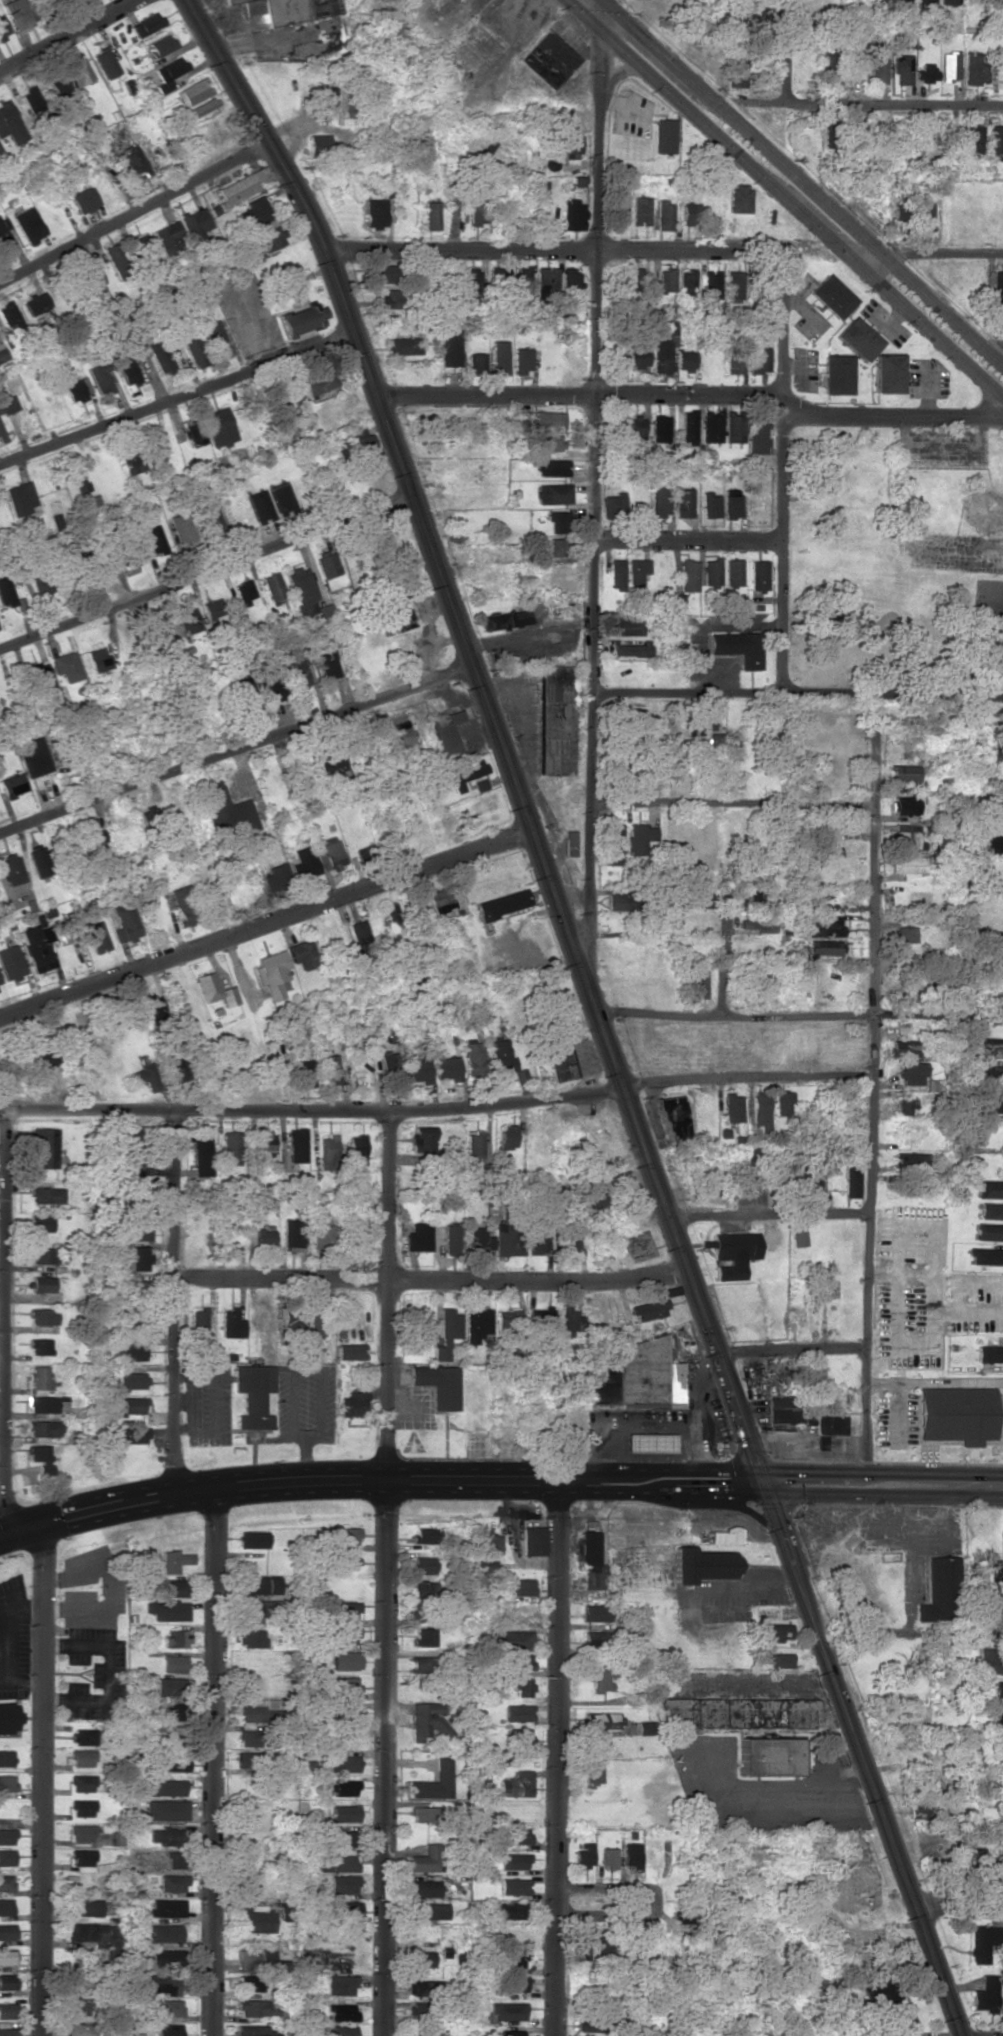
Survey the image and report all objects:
building: (288, 9)
building: (20, 13)
building: (146, 24)
building: (3, 27)
traffic signals: (630, 27)
road: (65, 36)
building: (161, 45)
traffic signals: (599, 50)
road: (784, 50)
building: (548, 58)
building: (105, 63)
building: (877, 65)
building: (948, 65)
building: (825, 67)
building: (901, 68)
building: (973, 68)
building: (736, 71)
building: (924, 72)
building: (78, 73)
building: (169, 73)
building: (194, 91)
building: (29, 98)
building: (326, 101)
road: (893, 103)
building: (350, 106)
building: (202, 107)
building: (10, 123)
building: (664, 135)
building: (972, 139)
building: (318, 141)
building: (995, 142)
building: (567, 143)
building: (418, 144)
building: (133, 161)
road: (802, 177)
building: (241, 186)
road: (785, 196)
building: (739, 198)
building: (84, 199)
road: (453, 199)
road: (130, 208)
building: (620, 208)
building: (477, 209)
building: (640, 209)
building: (253, 212)
building: (374, 213)
building: (688, 213)
building: (901, 213)
building: (431, 215)
building: (572, 215)
building: (923, 215)
building: (196, 221)
building: (28, 224)
building: (4, 236)
building: (168, 237)
building: (268, 238)
building: (141, 242)
road: (553, 250)
road: (945, 251)
building: (115, 258)
road: (877, 262)
building: (381, 273)
building: (496, 274)
building: (570, 278)
building: (472, 279)
building: (667, 279)
building: (523, 281)
building: (687, 281)
building: (995, 283)
building: (546, 284)
building: (712, 284)
building: (735, 285)
building: (830, 296)
building: (389, 297)
building: (35, 302)
building: (301, 318)
building: (11, 319)
building: (672, 327)
building: (214, 338)
building: (857, 338)
building: (404, 345)
building: (451, 347)
building: (194, 352)
building: (2, 354)
building: (160, 355)
building: (639, 355)
building: (499, 357)
building: (662, 357)
building: (758, 358)
building: (521, 359)
building: (685, 360)
building: (734, 362)
building: (476, 363)
building: (127, 372)
building: (888, 373)
building: (836, 374)
building: (101, 378)
building: (319, 382)
building: (77, 388)
road: (171, 393)
road: (688, 397)
building: (8, 404)
building: (548, 419)
building: (711, 425)
building: (220, 426)
building: (689, 426)
building: (733, 427)
building: (637, 428)
building: (660, 428)
building: (194, 433)
building: (756, 433)
building: (2, 434)
building: (361, 441)
building: (548, 442)
building: (133, 461)
building: (553, 467)
road: (782, 472)
road: (598, 476)
building: (77, 478)
building: (552, 493)
building: (22, 498)
building: (281, 498)
building: (659, 500)
building: (613, 502)
building: (683, 502)
building: (731, 503)
building: (710, 504)
building: (261, 507)
building: (985, 509)
building: (556, 521)
building: (183, 526)
building: (155, 538)
road: (690, 538)
building: (556, 547)
road: (966, 554)
building: (327, 565)
building: (711, 572)
building: (733, 572)
building: (616, 574)
road: (203, 575)
building: (688, 575)
building: (758, 575)
building: (636, 576)
building: (42, 584)
building: (273, 587)
building: (301, 590)
building: (6, 592)
building: (244, 592)
building: (678, 602)
building: (213, 609)
building: (398, 617)
building: (188, 619)
building: (505, 620)
building: (626, 626)
building: (159, 632)
building: (738, 647)
building: (630, 649)
building: (100, 659)
building: (327, 664)
building: (68, 665)
building: (296, 669)
building: (271, 683)
road: (797, 690)
building: (243, 694)
building: (396, 716)
building: (557, 720)
building: (445, 731)
building: (405, 736)
building: (714, 738)
road: (232, 749)
building: (992, 751)
building: (34, 756)
building: (331, 764)
building: (465, 772)
building: (903, 772)
building: (13, 785)
road: (733, 804)
building: (905, 805)
building: (225, 810)
building: (995, 811)
building: (90, 836)
building: (907, 837)
building: (638, 838)
building: (571, 842)
building: (613, 843)
building: (991, 844)
building: (330, 854)
building: (365, 854)
building: (39, 859)
road: (198, 859)
building: (305, 861)
building: (910, 864)
building: (12, 868)
building: (276, 876)
building: (696, 899)
building: (440, 900)
building: (628, 901)
building: (503, 904)
building: (183, 905)
building: (753, 909)
building: (394, 914)
building: (125, 918)
road: (263, 923)
building: (823, 926)
building: (905, 934)
building: (98, 937)
building: (362, 945)
building: (825, 946)
building: (37, 947)
building: (304, 954)
road: (722, 957)
building: (991, 962)
building: (11, 963)
building: (273, 973)
building: (697, 982)
building: (215, 989)
building: (0, 990)
road: (594, 1007)
building: (153, 1009)
road: (798, 1016)
building: (906, 1048)
building: (991, 1048)
building: (503, 1057)
building: (44, 1058)
building: (475, 1058)
building: (390, 1061)
building: (175, 1065)
building: (561, 1065)
building: (448, 1068)
building: (333, 1069)
building: (419, 1071)
building: (911, 1072)
building: (306, 1073)
road: (747, 1076)
building: (989, 1076)
building: (146, 1077)
road: (872, 1088)
building: (785, 1102)
building: (990, 1105)
building: (904, 1106)
road: (311, 1107)
building: (673, 1107)
building: (731, 1107)
building: (760, 1110)
building: (138, 1133)
building: (508, 1137)
building: (423, 1138)
building: (268, 1143)
building: (297, 1145)
building: (44, 1147)
building: (230, 1148)
building: (474, 1148)
building: (357, 1150)
building: (329, 1151)
building: (201, 1154)
building: (910, 1161)
building: (801, 1172)
building: (851, 1182)
building: (989, 1189)
building: (597, 1194)
building: (47, 1195)
building: (991, 1210)
road: (768, 1215)
building: (41, 1223)
building: (357, 1229)
building: (989, 1231)
building: (292, 1232)
building: (320, 1233)
building: (263, 1234)
building: (419, 1237)
building: (453, 1238)
building: (480, 1238)
building: (570, 1238)
building: (509, 1239)
building: (538, 1243)
building: (636, 1245)
building: (733, 1253)
building: (42, 1255)
building: (985, 1256)
building: (138, 1258)
road: (433, 1279)
building: (43, 1284)
road: (178, 1302)
building: (648, 1309)
building: (124, 1315)
building: (43, 1316)
building: (570, 1318)
road: (5, 1320)
building: (200, 1321)
building: (541, 1321)
building: (315, 1322)
building: (508, 1322)
building: (232, 1323)
building: (478, 1325)
building: (447, 1332)
building: (40, 1346)
building: (131, 1349)
building: (351, 1351)
road: (791, 1352)
building: (989, 1353)
building: (647, 1375)
building: (814, 1375)
building: (40, 1379)
building: (131, 1380)
building: (439, 1384)
building: (253, 1394)
road: (2, 1397)
building: (354, 1403)
building: (48, 1405)
building: (131, 1405)
building: (783, 1408)
building: (956, 1414)
building: (44, 1428)
building: (828, 1428)
building: (134, 1434)
building: (649, 1441)
building: (41, 1457)
road: (498, 1478)
traffic signals: (764, 1481)
building: (1001, 1519)
building: (424, 1534)
building: (341, 1535)
building: (725, 1536)
building: (251, 1539)
building: (532, 1540)
building: (486, 1549)
building: (588, 1557)
building: (173, 1560)
building: (347, 1560)
building: (424, 1563)
building: (703, 1564)
building: (996, 1571)
road: (386, 1573)
building: (258, 1584)
building: (522, 1586)
building: (937, 1586)
building: (172, 1587)
building: (420, 1588)
road: (905, 1601)
building: (994, 1601)
building: (167, 1610)
building: (345, 1610)
building: (254, 1611)
building: (997, 1630)
building: (775, 1632)
building: (346, 1635)
building: (424, 1636)
building: (175, 1638)
building: (591, 1638)
building: (250, 1639)
building: (517, 1640)
building: (347, 1660)
building: (780, 1660)
building: (520, 1661)
building: (991, 1661)
building: (174, 1663)
building: (423, 1664)
building: (600, 1679)
building: (248, 1684)
building: (342, 1685)
building: (170, 1686)
building: (520, 1686)
building: (999, 1688)
building: (350, 1709)
building: (175, 1711)
building: (258, 1712)
building: (515, 1712)
building: (737, 1712)
building: (8, 1716)
building: (427, 1720)
building: (603, 1720)
building: (998, 1720)
building: (643, 1727)
building: (171, 1735)
building: (84, 1736)
building: (519, 1736)
building: (249, 1737)
building: (1000, 1751)
building: (768, 1756)
building: (6, 1757)
building: (83, 1757)
road: (557, 1757)
building: (248, 1759)
road: (213, 1761)
building: (343, 1763)
building: (591, 1772)
building: (1000, 1776)
road: (42, 1779)
building: (85, 1782)
building: (434, 1782)
building: (516, 1784)
building: (165, 1787)
building: (345, 1787)
building: (83, 1807)
building: (167, 1809)
building: (922, 1810)
building: (345, 1812)
building: (420, 1813)
building: (1001, 1819)
building: (83, 1832)
building: (162, 1835)
building: (514, 1835)
building: (6, 1836)
building: (341, 1837)
building: (1002, 1849)
building: (583, 1854)
building: (631, 1855)
building: (6, 1857)
building: (83, 1857)
building: (608, 1857)
building: (426, 1858)
building: (172, 1859)
building: (337, 1861)
building: (513, 1861)
building: (6, 1882)
building: (173, 1883)
building: (344, 1883)
building: (514, 1886)
building: (424, 1888)
road: (601, 1893)
building: (6, 1906)
building: (84, 1907)
building: (167, 1907)
road: (958, 1908)
building: (349, 1909)
building: (430, 1910)
building: (508, 1910)
building: (256, 1920)
building: (7, 1931)
building: (86, 1933)
building: (165, 1934)
building: (982, 1941)
building: (603, 1948)
building: (7, 1956)
building: (167, 1956)
building: (422, 1958)
building: (510, 1959)
building: (260, 1960)
building: (7, 1981)
building: (250, 1983)
building: (516, 1983)
building: (160, 1984)
building: (341, 1985)
building: (421, 1986)
building: (986, 1994)
building: (883, 1997)
building: (1002, 1997)
building: (78, 2006)
building: (171, 2007)
building: (258, 2007)
building: (421, 2009)
building: (7, 2010)
building: (507, 2011)
building: (342, 2012)
building: (590, 2022)
building: (79, 2029)
building: (171, 2029)
building: (254, 2030)
building: (343, 2030)
building: (421, 2030)
building: (7, 2031)
building: (512, 2033)

